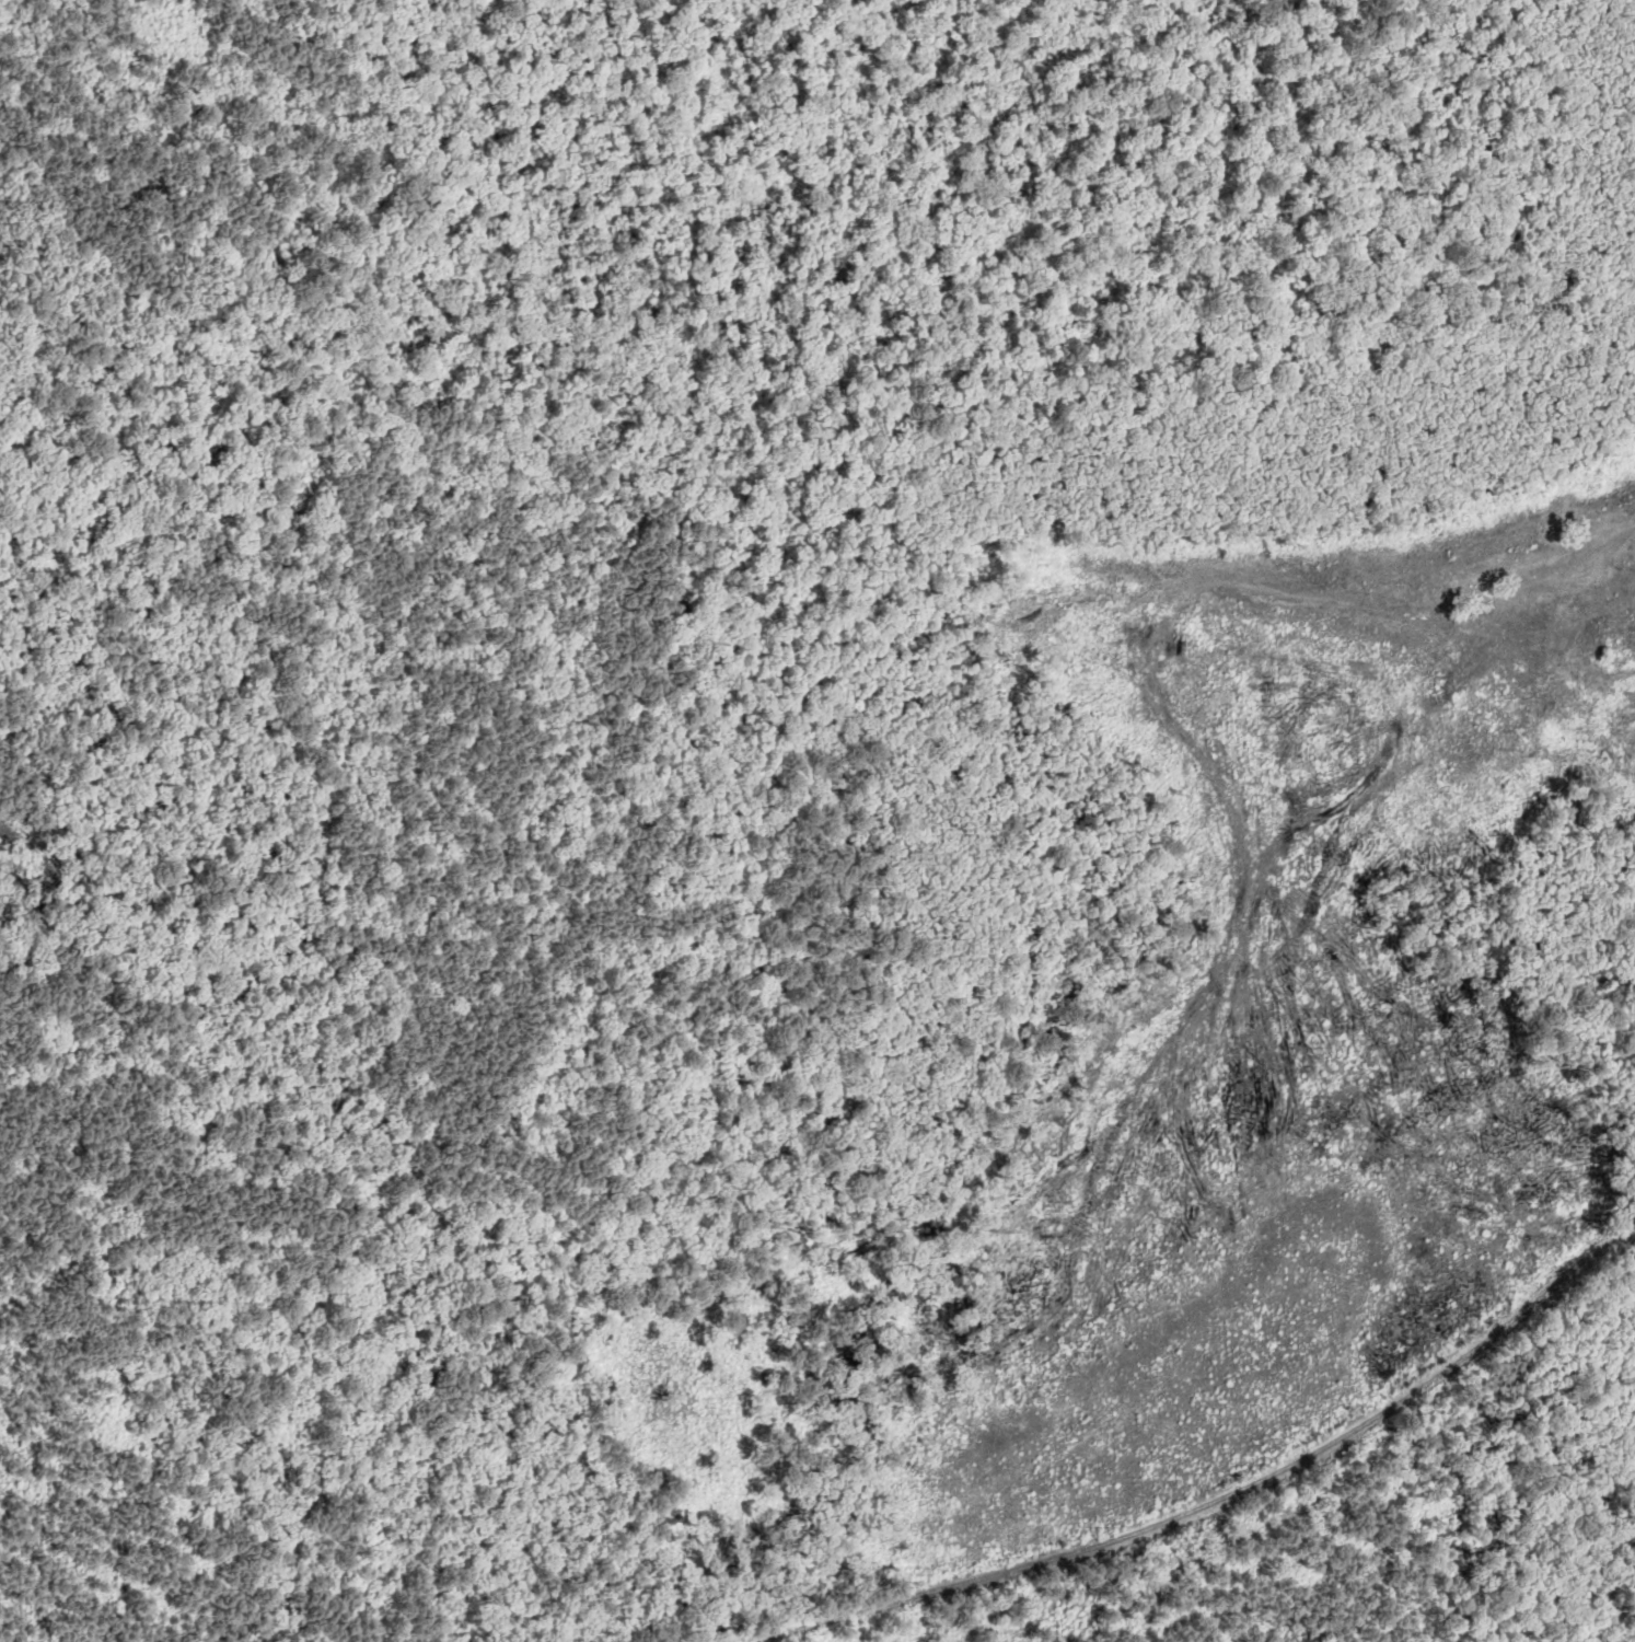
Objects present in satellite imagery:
railway: (1216, 1501)

